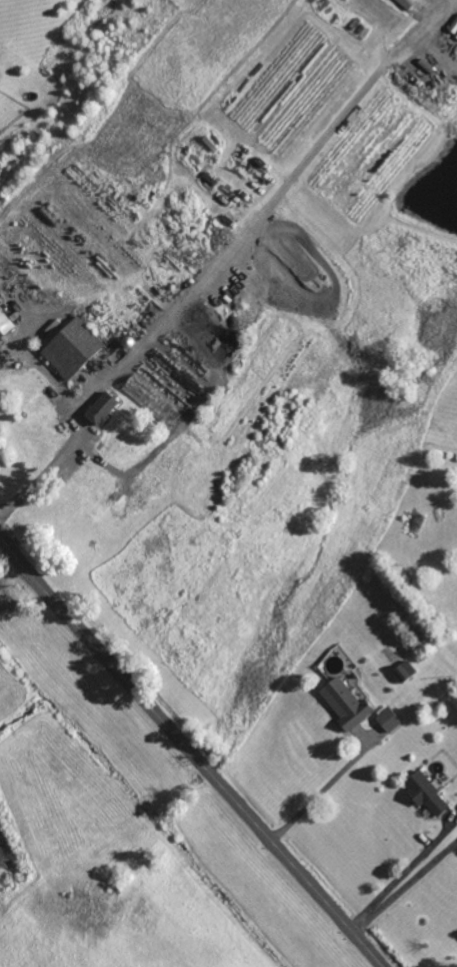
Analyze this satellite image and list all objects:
building: (404, 4)
building: (453, 28)
road: (216, 255)
building: (4, 326)
building: (69, 350)
building: (99, 410)
building: (404, 673)
building: (344, 706)
building: (386, 722)
road: (190, 752)
road: (320, 791)
building: (424, 796)
road: (400, 876)
road: (404, 888)

